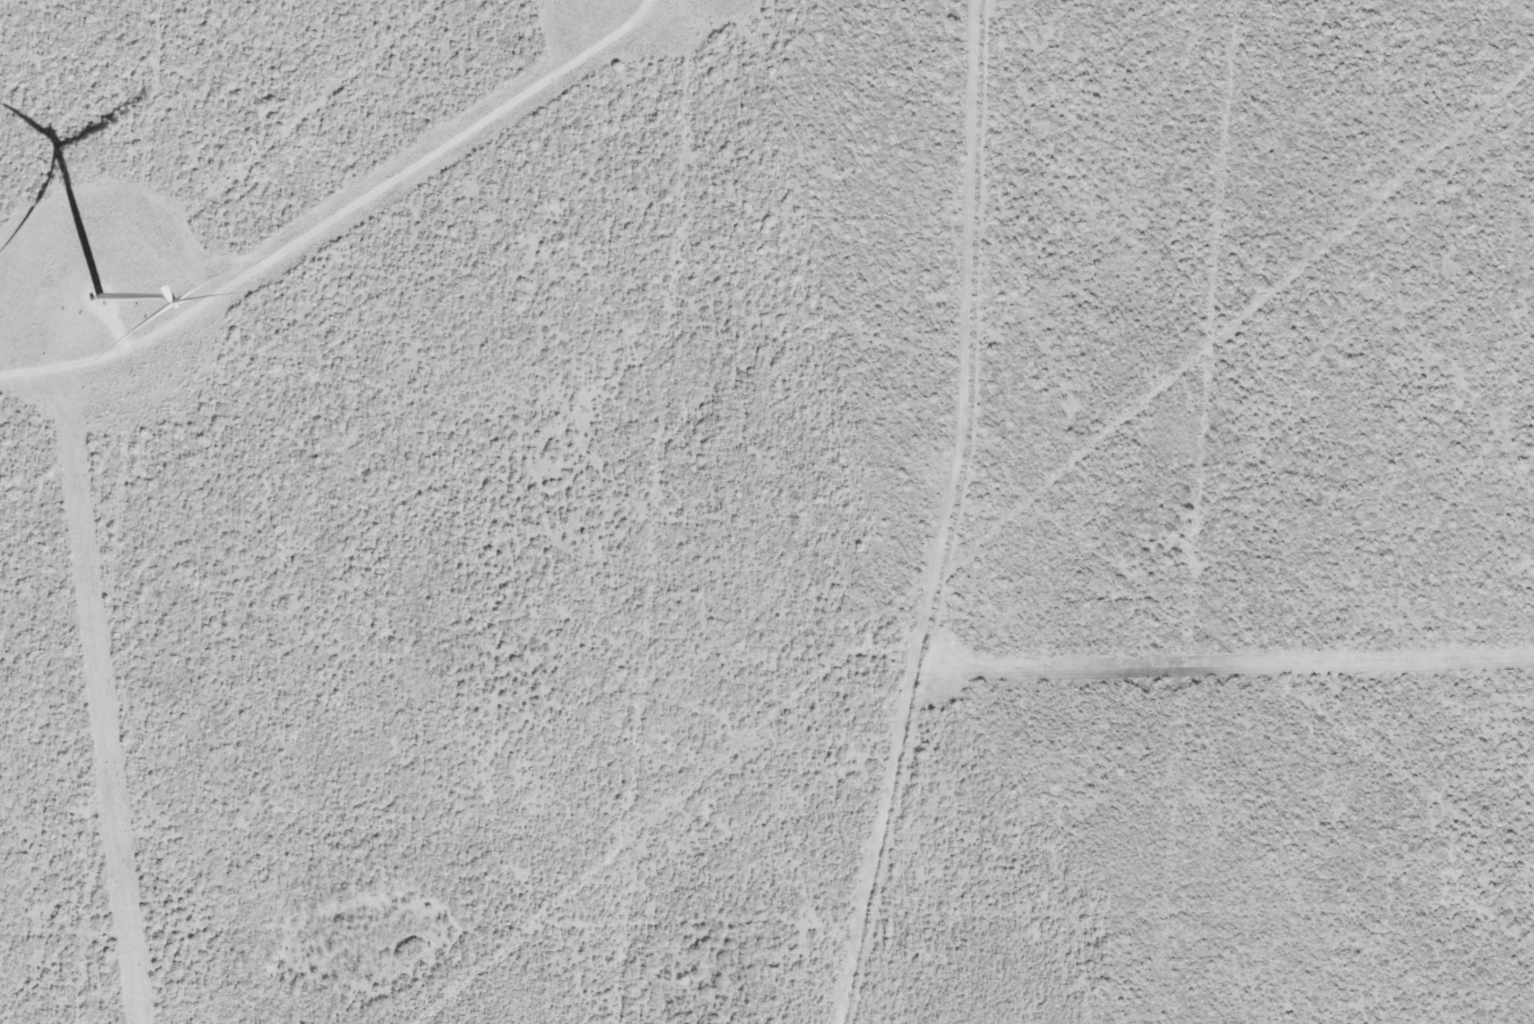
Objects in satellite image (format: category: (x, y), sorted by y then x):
wind turbine: (78, 322)

